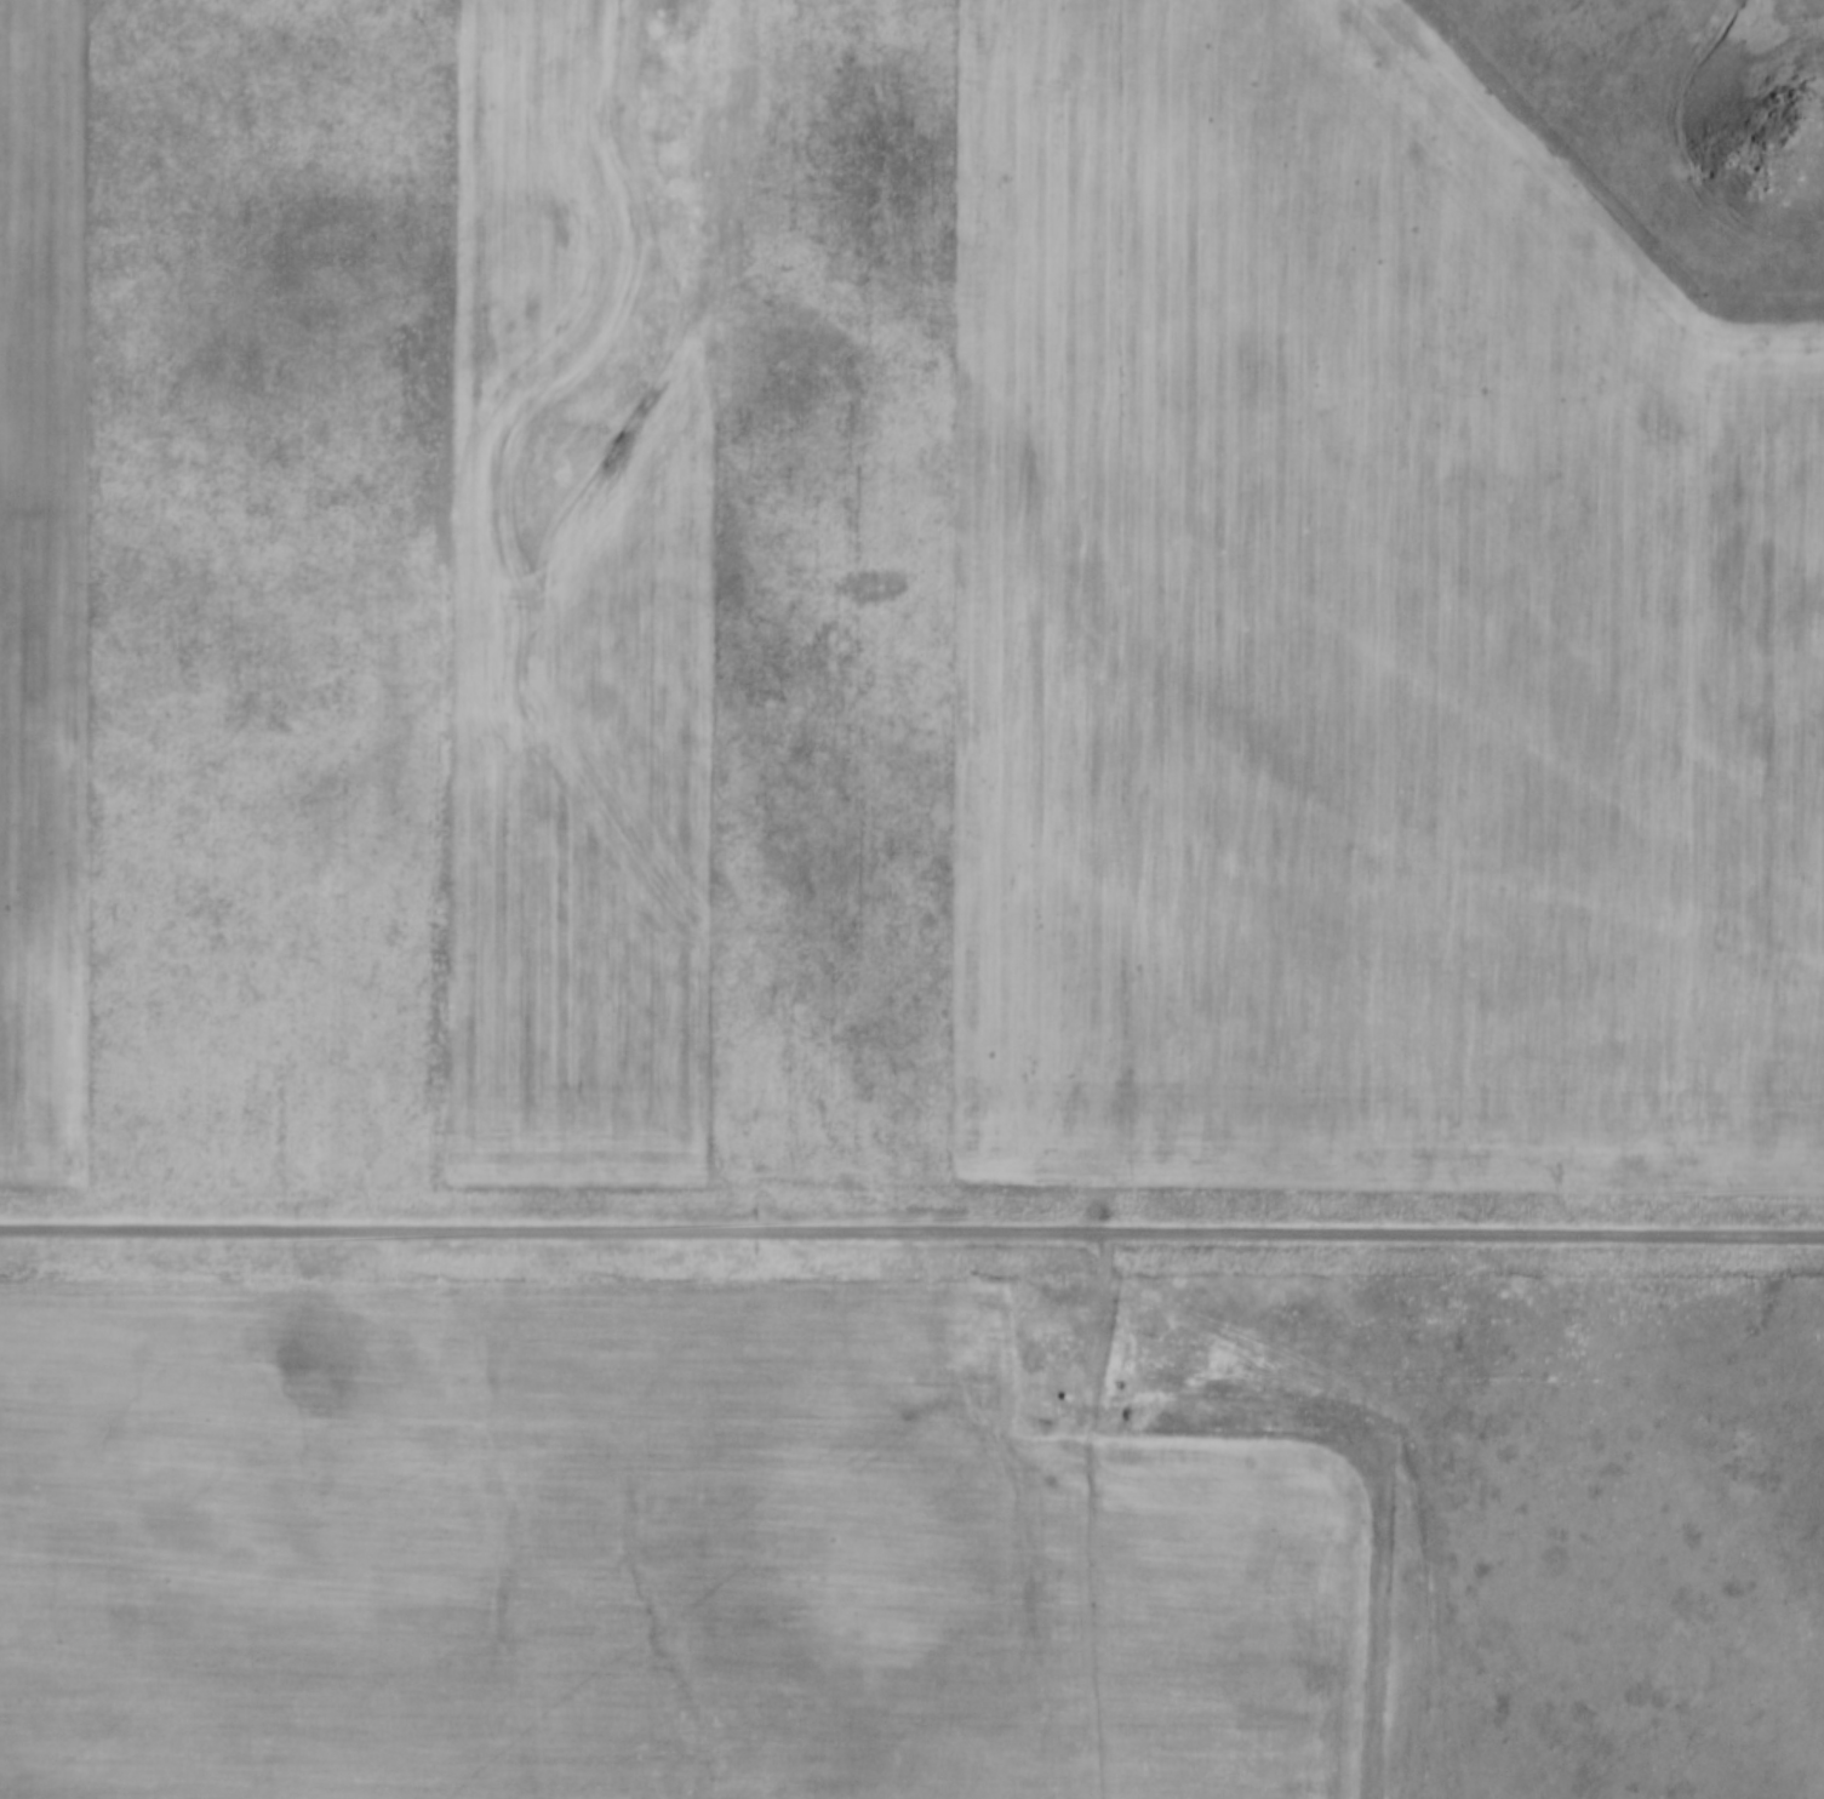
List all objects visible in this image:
road: (1677, 166)
road: (911, 1232)
road: (1102, 1332)
road: (1277, 1440)

